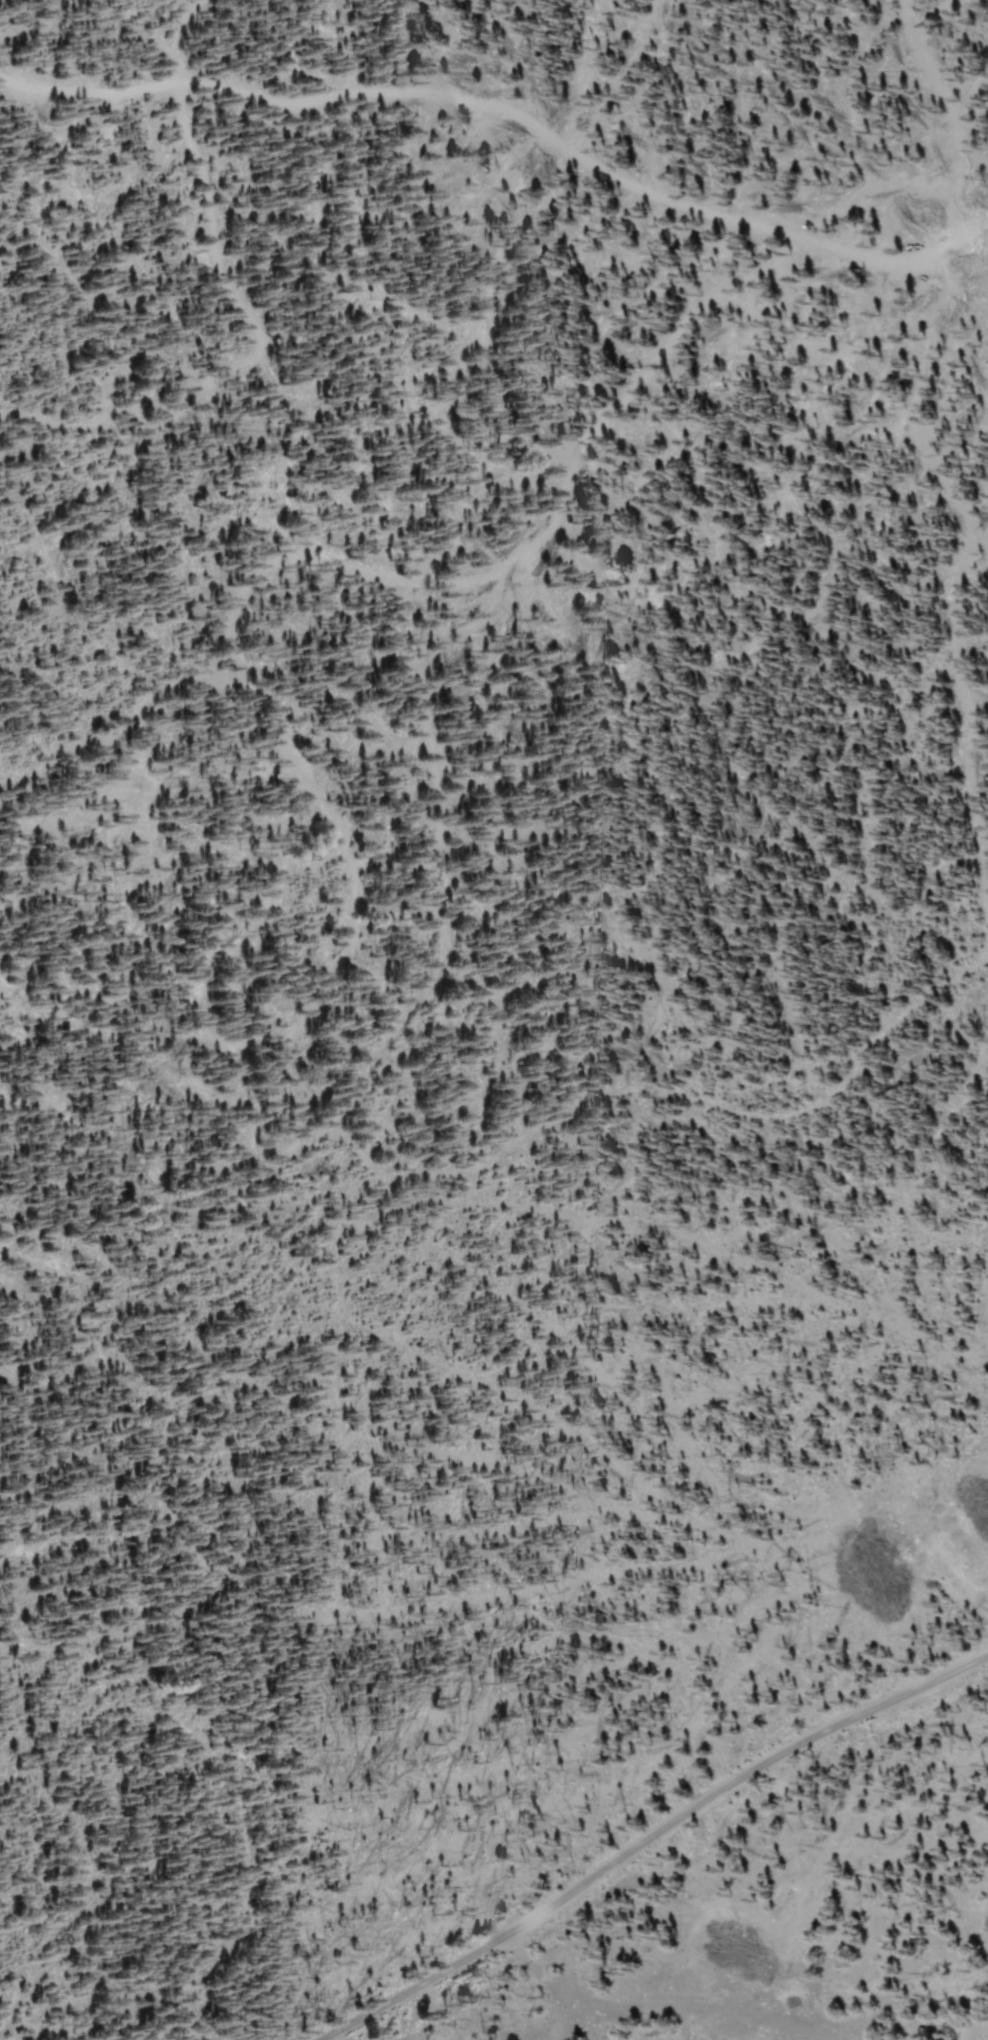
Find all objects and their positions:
road: (650, 1837)

